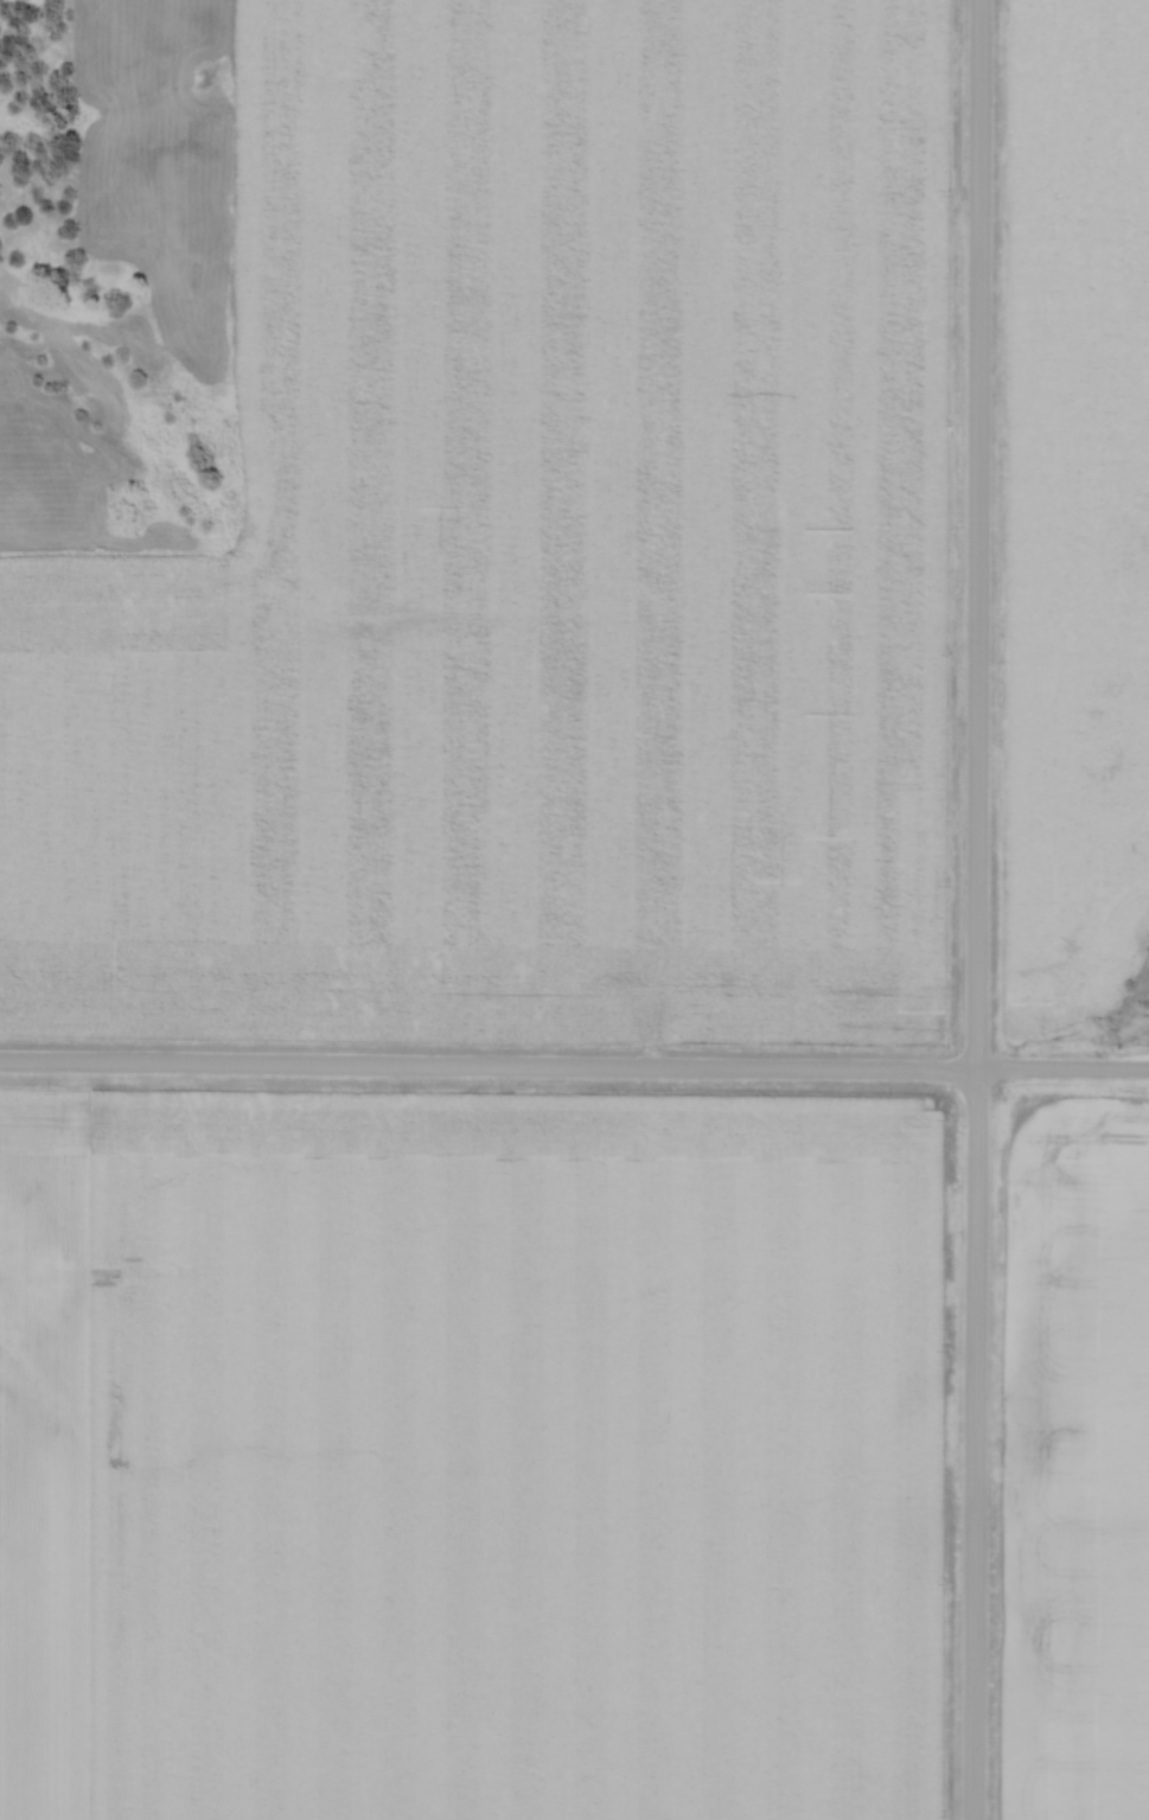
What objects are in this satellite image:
crop: (530, 555)
road: (972, 909)
road: (574, 1071)
crop: (513, 1458)

